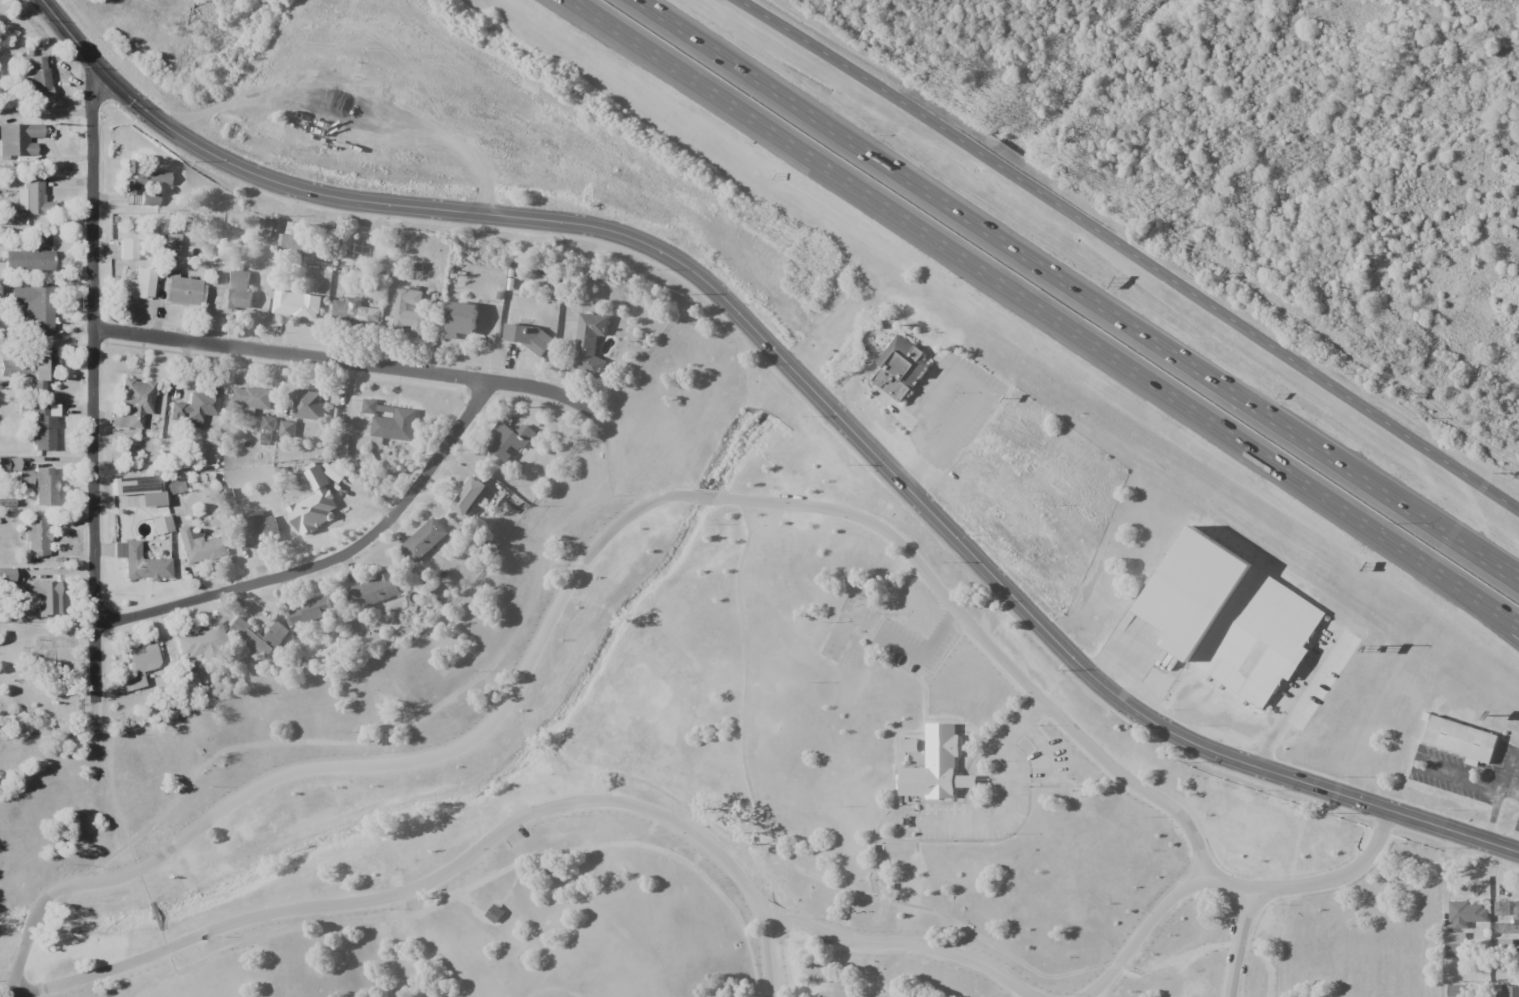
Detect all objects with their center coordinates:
building: (36, 77)
building: (18, 139)
building: (141, 177)
building: (32, 197)
building: (148, 199)
building: (266, 228)
building: (291, 239)
building: (127, 248)
road: (1131, 251)
building: (171, 255)
building: (31, 256)
building: (139, 284)
building: (237, 290)
road: (1080, 290)
building: (296, 305)
building: (35, 307)
building: (355, 312)
building: (410, 313)
road: (1047, 313)
building: (461, 319)
building: (590, 343)
road: (344, 362)
building: (30, 368)
building: (900, 368)
road: (799, 378)
road: (93, 397)
building: (252, 397)
building: (135, 400)
building: (307, 405)
building: (370, 406)
building: (195, 407)
building: (395, 425)
building: (42, 426)
building: (287, 429)
building: (508, 441)
building: (376, 442)
road: (605, 449)
building: (9, 463)
building: (334, 471)
building: (39, 484)
building: (139, 488)
building: (468, 496)
road: (728, 499)
building: (317, 511)
building: (161, 524)
building: (261, 527)
building: (37, 535)
building: (424, 539)
building: (200, 546)
building: (117, 549)
road: (331, 560)
building: (143, 564)
building: (6, 574)
road: (1507, 575)
building: (373, 591)
building: (41, 595)
building: (311, 611)
building: (1230, 617)
road: (1504, 623)
building: (260, 637)
building: (203, 642)
parking lot: (913, 646)
road: (925, 654)
building: (138, 665)
road: (957, 723)
road: (397, 731)
road: (901, 733)
road: (993, 733)
road: (1003, 737)
building: (1463, 744)
road: (1043, 747)
parking lot: (1048, 764)
building: (935, 767)
park: (687, 779)
road: (962, 781)
road: (968, 781)
road: (1070, 781)
road: (109, 791)
road: (949, 803)
road: (967, 805)
parking lot: (981, 808)
road: (1005, 819)
road: (995, 840)
road: (777, 854)
road: (137, 869)
road: (449, 870)
road: (880, 878)
road: (483, 880)
road: (511, 887)
road: (144, 888)
building: (495, 913)
building: (1466, 914)
road: (154, 915)
road: (767, 916)
road: (779, 919)
building: (1516, 919)
road: (32, 922)
road: (1141, 931)
road: (1238, 942)
road: (1238, 943)
road: (913, 945)
building: (1453, 945)
road: (166, 951)
road: (1176, 958)
road: (1117, 965)
road: (1267, 965)
road: (15, 967)
building: (1455, 991)
building: (1507, 991)
road: (19, 995)

